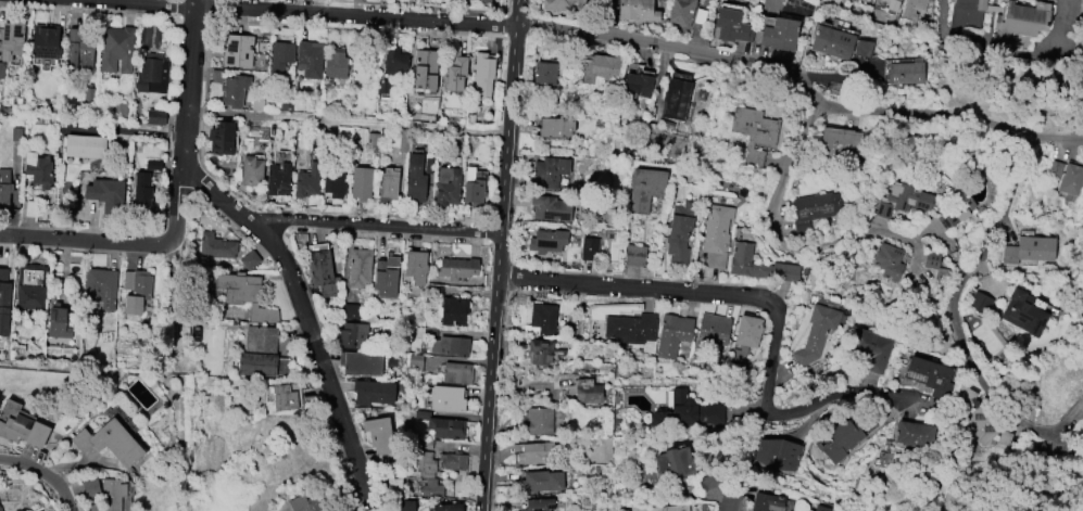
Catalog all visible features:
building: (482, 0)
building: (856, 0)
building: (484, 1)
building: (561, 4)
building: (892, 4)
building: (638, 10)
building: (911, 10)
building: (681, 12)
building: (967, 13)
building: (1019, 22)
building: (730, 26)
road: (602, 34)
building: (778, 34)
building: (11, 40)
building: (45, 41)
building: (832, 42)
building: (78, 49)
building: (116, 49)
building: (862, 49)
building: (238, 51)
building: (281, 56)
building: (310, 60)
building: (336, 64)
building: (395, 64)
building: (1, 69)
building: (425, 69)
building: (599, 71)
building: (906, 72)
building: (455, 73)
building: (544, 73)
building: (151, 75)
building: (482, 75)
building: (635, 86)
building: (382, 87)
building: (234, 90)
building: (675, 99)
building: (154, 117)
road: (349, 120)
building: (555, 127)
road: (187, 132)
building: (754, 135)
building: (221, 139)
building: (841, 143)
building: (84, 146)
building: (153, 165)
building: (38, 169)
building: (251, 171)
building: (550, 171)
building: (1067, 178)
building: (277, 179)
building: (306, 181)
building: (414, 181)
building: (333, 182)
building: (360, 183)
building: (388, 183)
building: (446, 187)
building: (4, 189)
building: (141, 189)
building: (644, 189)
building: (105, 190)
building: (474, 193)
building: (904, 196)
building: (819, 206)
building: (550, 208)
building: (958, 210)
road: (376, 228)
building: (679, 233)
building: (716, 235)
road: (781, 240)
building: (547, 241)
road: (76, 243)
building: (216, 246)
building: (589, 248)
building: (1029, 251)
road: (501, 255)
building: (635, 255)
building: (249, 259)
building: (931, 260)
building: (889, 261)
building: (415, 266)
building: (759, 266)
building: (358, 268)
building: (456, 268)
building: (322, 273)
road: (967, 273)
building: (386, 277)
building: (30, 286)
building: (101, 288)
building: (136, 290)
building: (247, 295)
building: (4, 303)
road: (767, 303)
building: (980, 303)
building: (349, 311)
building: (453, 311)
building: (1023, 312)
building: (542, 318)
road: (307, 322)
building: (58, 323)
building: (630, 329)
building: (711, 330)
building: (672, 334)
building: (816, 334)
building: (350, 335)
building: (746, 336)
building: (449, 346)
building: (868, 349)
building: (259, 352)
building: (543, 353)
building: (360, 362)
building: (457, 373)
building: (929, 375)
building: (587, 392)
building: (373, 393)
building: (284, 398)
building: (446, 398)
building: (687, 411)
building: (977, 419)
building: (538, 421)
building: (445, 427)
building: (23, 431)
building: (914, 434)
building: (378, 435)
building: (839, 440)
building: (110, 442)
building: (533, 452)
building: (778, 453)
building: (452, 461)
building: (425, 464)
building: (672, 464)
road: (40, 475)
building: (540, 482)
building: (90, 487)
building: (431, 489)
road: (731, 489)
building: (112, 494)
building: (767, 501)
building: (305, 503)
building: (539, 504)
building: (404, 506)
building: (704, 507)
building: (445, 508)
building: (676, 508)
building: (820, 509)

